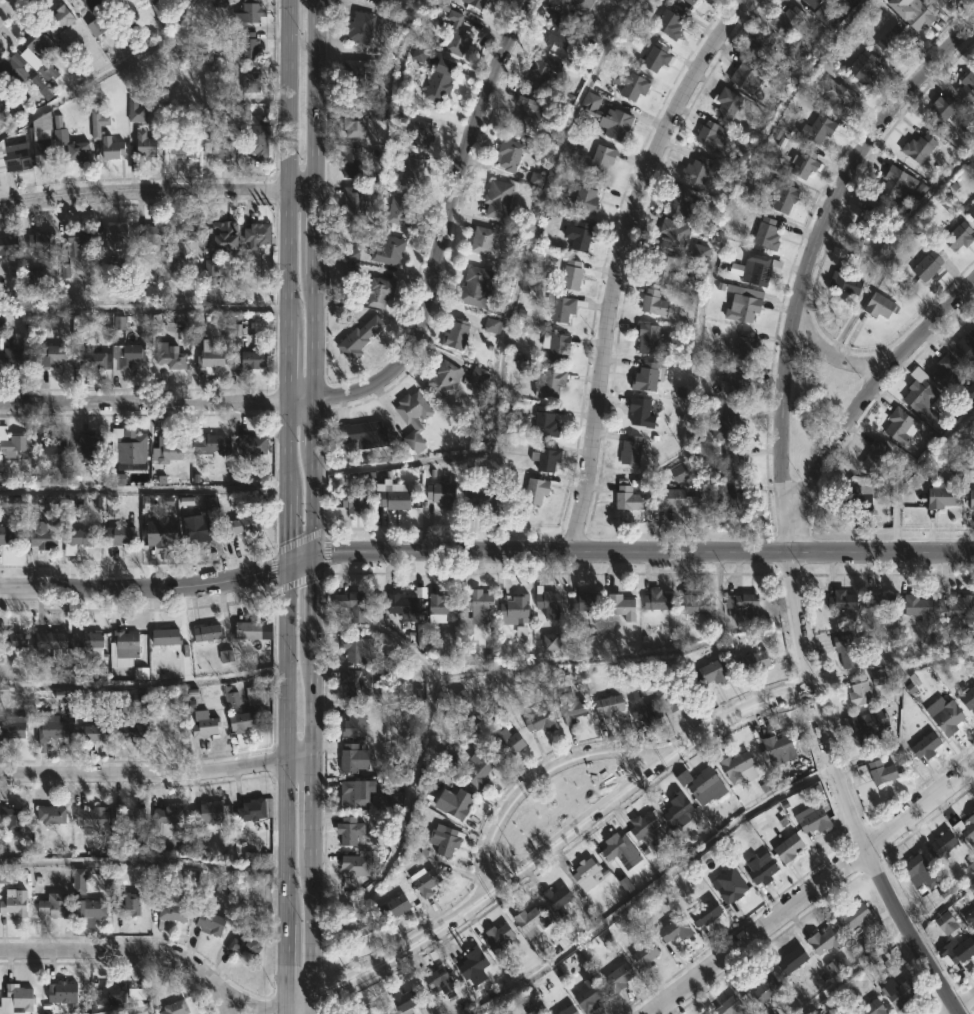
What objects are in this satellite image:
building: (389, 0)
building: (704, 0)
building: (826, 0)
building: (955, 1)
building: (691, 2)
building: (942, 2)
building: (92, 3)
building: (477, 3)
building: (581, 3)
building: (813, 3)
road: (7, 7)
building: (251, 10)
building: (918, 14)
building: (60, 18)
building: (788, 19)
building: (671, 21)
building: (361, 28)
building: (561, 32)
building: (34, 39)
building: (893, 39)
building: (459, 41)
building: (763, 42)
building: (249, 44)
building: (658, 56)
building: (864, 66)
building: (544, 67)
building: (13, 69)
road: (103, 73)
building: (748, 74)
building: (356, 75)
building: (442, 79)
building: (251, 81)
building: (632, 82)
building: (968, 87)
building: (839, 95)
road: (318, 97)
building: (0, 102)
building: (729, 102)
building: (943, 109)
building: (136, 110)
building: (524, 113)
building: (609, 116)
building: (98, 123)
building: (355, 124)
building: (819, 128)
building: (421, 133)
building: (713, 134)
building: (252, 141)
building: (147, 144)
building: (183, 144)
building: (218, 146)
building: (112, 147)
building: (921, 147)
building: (78, 150)
building: (509, 154)
building: (16, 156)
building: (601, 159)
building: (353, 160)
building: (807, 163)
road: (289, 165)
building: (697, 169)
building: (413, 171)
building: (898, 183)
road: (158, 195)
building: (587, 196)
building: (785, 196)
building: (499, 198)
building: (354, 199)
building: (684, 201)
building: (401, 209)
building: (971, 210)
building: (873, 220)
road: (444, 224)
building: (191, 230)
building: (115, 232)
building: (154, 233)
building: (674, 233)
building: (768, 233)
building: (258, 234)
road: (317, 234)
building: (580, 234)
building: (226, 235)
building: (960, 235)
building: (78, 238)
building: (42, 240)
building: (483, 240)
building: (9, 245)
building: (389, 250)
building: (352, 257)
road: (623, 261)
building: (928, 264)
building: (668, 266)
building: (758, 268)
building: (573, 275)
building: (34, 276)
building: (847, 280)
building: (478, 286)
building: (381, 291)
building: (655, 302)
building: (746, 304)
building: (883, 305)
road: (144, 306)
building: (564, 306)
building: (491, 327)
building: (458, 333)
road: (316, 334)
building: (360, 337)
building: (649, 338)
building: (967, 344)
building: (748, 345)
building: (559, 348)
building: (51, 355)
building: (131, 355)
building: (172, 357)
road: (831, 357)
building: (211, 358)
building: (16, 359)
building: (93, 359)
building: (255, 359)
road: (289, 365)
building: (950, 369)
building: (647, 377)
building: (477, 378)
building: (445, 381)
building: (737, 382)
building: (552, 384)
road: (872, 385)
building: (969, 392)
road: (302, 397)
road: (144, 403)
building: (920, 407)
building: (642, 411)
road: (784, 411)
building: (414, 418)
road: (316, 421)
building: (546, 421)
building: (730, 425)
building: (902, 425)
building: (366, 434)
building: (209, 444)
building: (253, 444)
road: (289, 444)
building: (14, 445)
building: (53, 445)
building: (131, 445)
building: (168, 450)
building: (632, 450)
building: (90, 451)
building: (877, 456)
building: (548, 457)
building: (735, 460)
road: (144, 488)
building: (537, 490)
building: (731, 493)
building: (443, 494)
building: (483, 494)
building: (860, 494)
building: (943, 494)
building: (397, 496)
building: (628, 496)
building: (356, 497)
building: (676, 499)
building: (972, 499)
road: (317, 500)
building: (242, 525)
road: (290, 528)
building: (162, 531)
building: (198, 531)
building: (120, 535)
building: (8, 536)
building: (44, 536)
building: (82, 537)
road: (645, 551)
traffic signals: (318, 554)
road: (304, 560)
traffic signals: (290, 567)
road: (146, 587)
road: (316, 597)
building: (659, 600)
building: (843, 600)
building: (588, 601)
building: (882, 601)
building: (549, 603)
building: (695, 604)
building: (745, 604)
building: (353, 605)
building: (481, 606)
building: (623, 606)
building: (960, 606)
building: (443, 607)
building: (517, 607)
building: (920, 607)
building: (409, 615)
building: (252, 630)
building: (208, 633)
building: (167, 636)
building: (13, 640)
building: (52, 640)
building: (89, 641)
building: (126, 644)
building: (847, 648)
building: (354, 650)
building: (756, 662)
building: (714, 673)
building: (367, 682)
building: (677, 692)
building: (861, 693)
road: (313, 697)
building: (969, 700)
building: (609, 705)
building: (643, 708)
building: (577, 710)
building: (950, 718)
building: (245, 721)
building: (542, 721)
building: (356, 723)
building: (205, 726)
building: (870, 727)
building: (14, 728)
building: (52, 730)
building: (91, 733)
building: (133, 733)
building: (506, 743)
road: (287, 744)
building: (927, 745)
building: (780, 749)
building: (350, 758)
building: (735, 764)
building: (479, 771)
building: (883, 773)
road: (156, 774)
road: (538, 780)
building: (708, 786)
building: (361, 796)
road: (311, 800)
road: (921, 805)
building: (461, 806)
building: (679, 808)
building: (253, 810)
building: (210, 813)
building: (52, 815)
building: (131, 816)
building: (91, 817)
building: (815, 818)
building: (167, 819)
building: (14, 820)
building: (645, 827)
building: (970, 829)
building: (350, 830)
road: (559, 840)
building: (447, 841)
building: (944, 845)
building: (790, 848)
building: (618, 850)
building: (762, 868)
building: (922, 873)
building: (587, 874)
building: (426, 881)
building: (732, 886)
building: (558, 900)
building: (15, 905)
building: (55, 906)
building: (129, 906)
building: (394, 907)
building: (92, 909)
building: (708, 913)
building: (172, 914)
building: (855, 916)
building: (970, 918)
building: (532, 922)
building: (211, 924)
road: (309, 924)
building: (950, 924)
building: (356, 928)
building: (676, 930)
road: (758, 930)
road: (909, 932)
building: (499, 938)
building: (826, 941)
building: (247, 945)
building: (960, 950)
road: (137, 951)
building: (646, 955)
road: (118, 962)
building: (474, 964)
building: (794, 965)
road: (287, 966)
building: (621, 977)
building: (440, 981)
building: (767, 987)
building: (62, 991)
building: (111, 993)
building: (900, 994)
building: (591, 995)
building: (17, 998)
building: (407, 1000)
road: (297, 1005)
road: (962, 1005)
building: (732, 1006)
road: (308, 1007)
building: (176, 1008)
building: (874, 1008)
road: (120, 1009)
building: (375, 1010)
building: (569, 1010)
road: (282, 1012)
road: (286, 1012)
building: (418, 1013)

